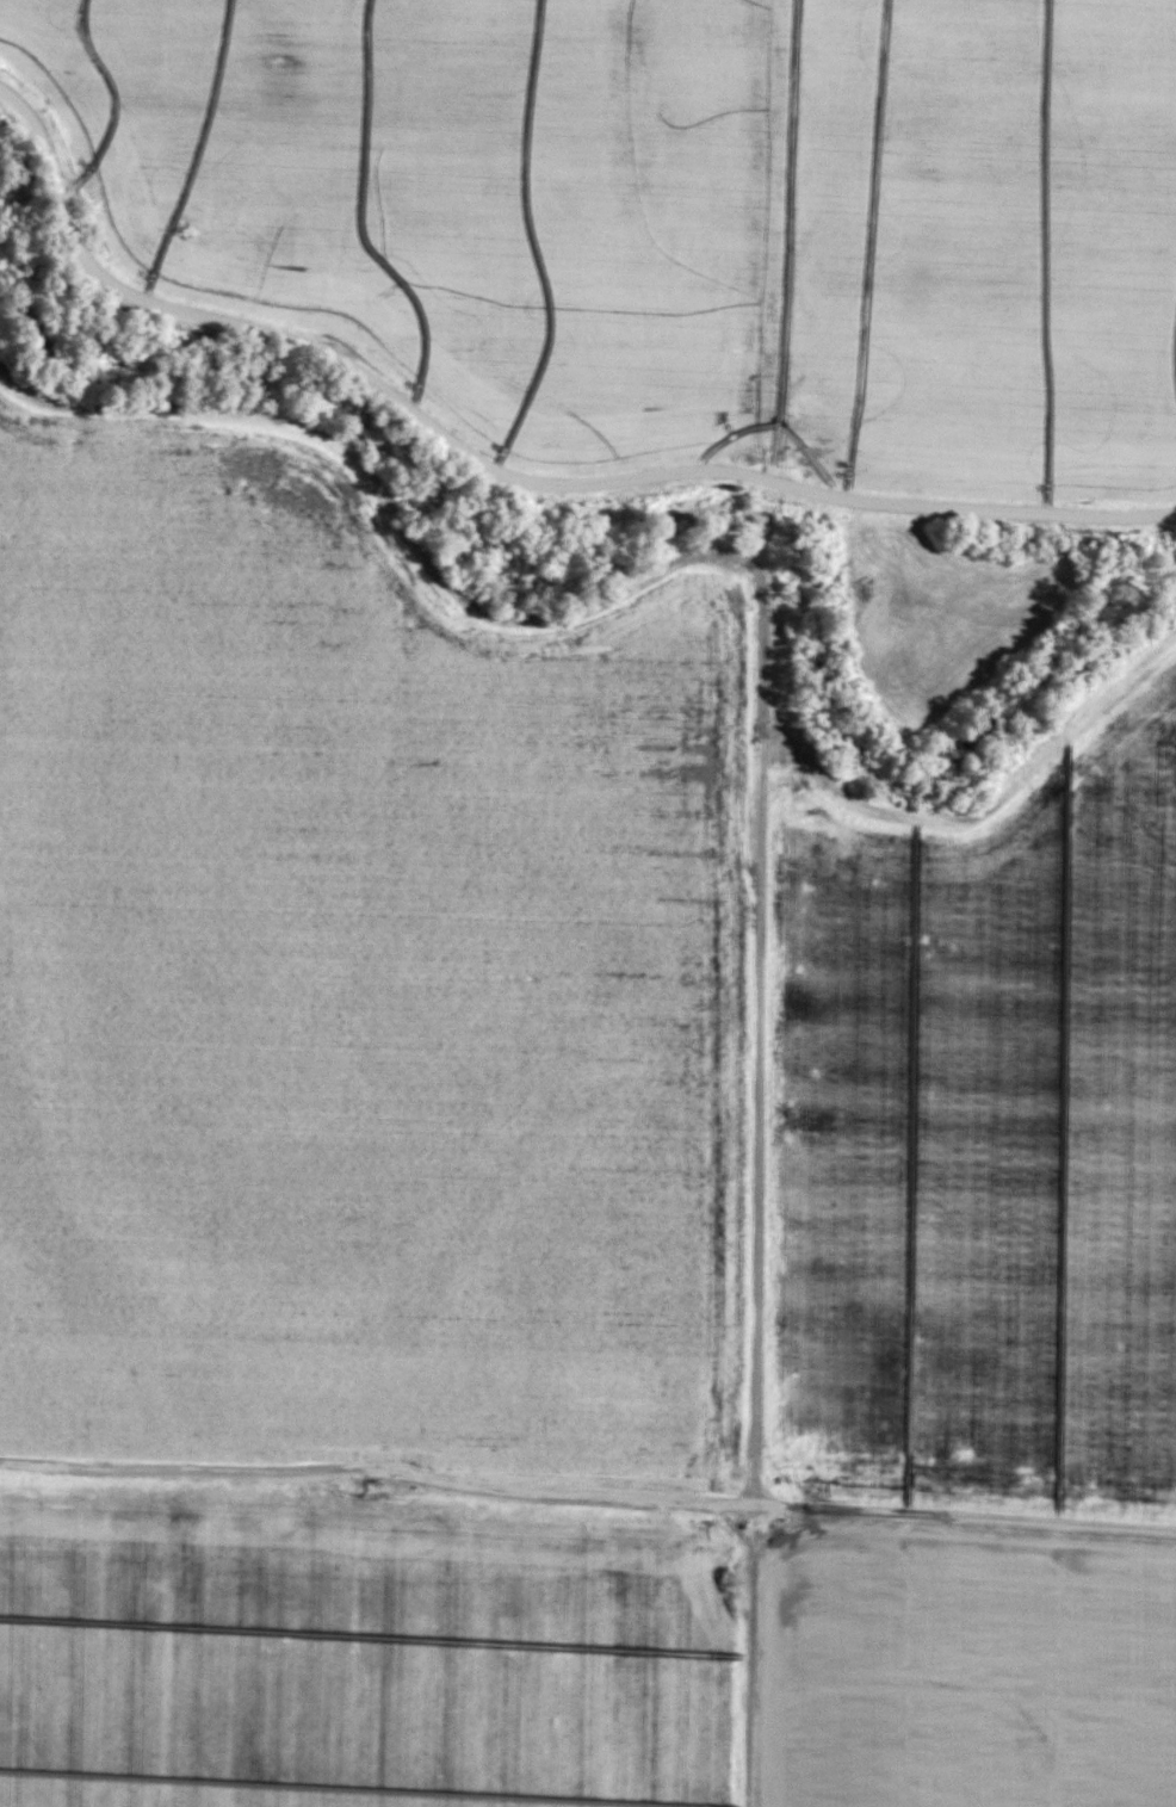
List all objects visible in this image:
road: (502, 484)

